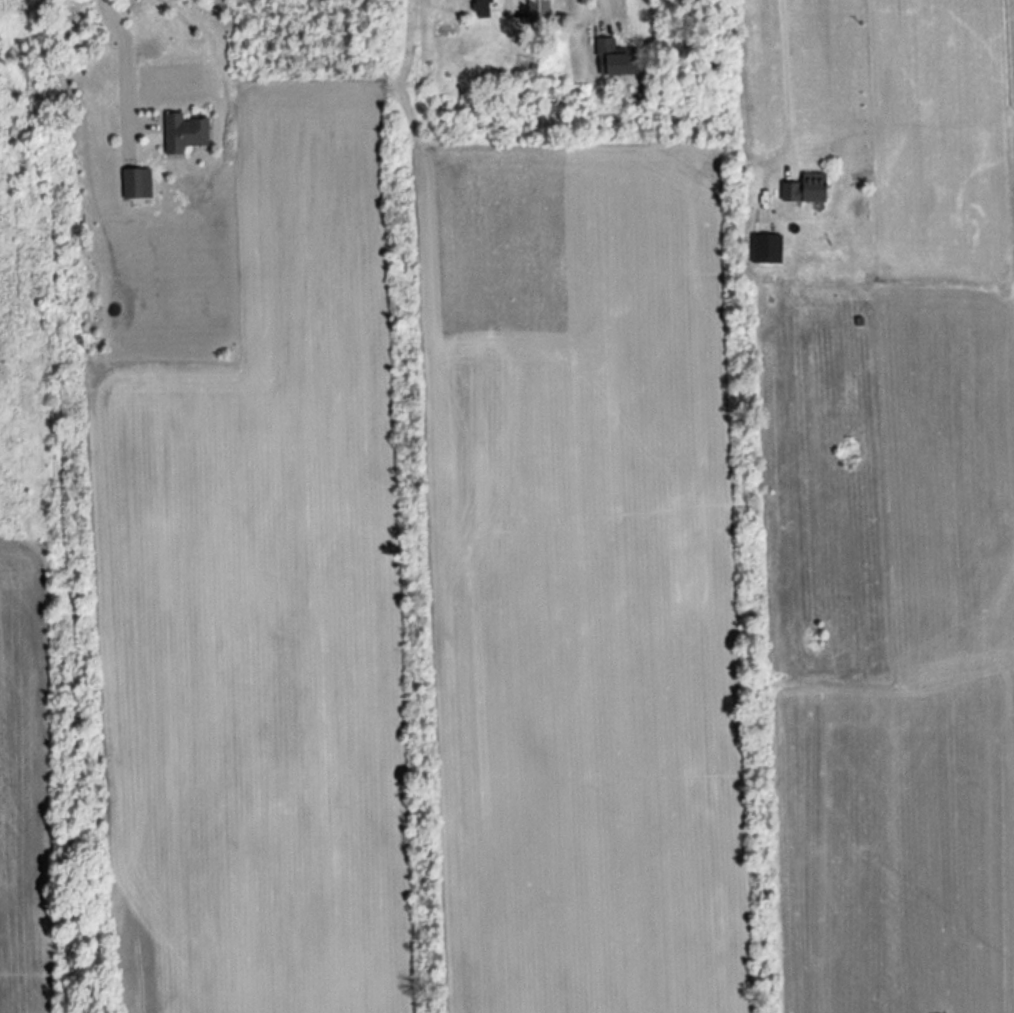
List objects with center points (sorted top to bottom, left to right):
building: (479, 6)
building: (537, 12)
road: (125, 57)
building: (609, 58)
road: (784, 76)
building: (183, 133)
building: (137, 184)
building: (804, 189)
building: (763, 250)

